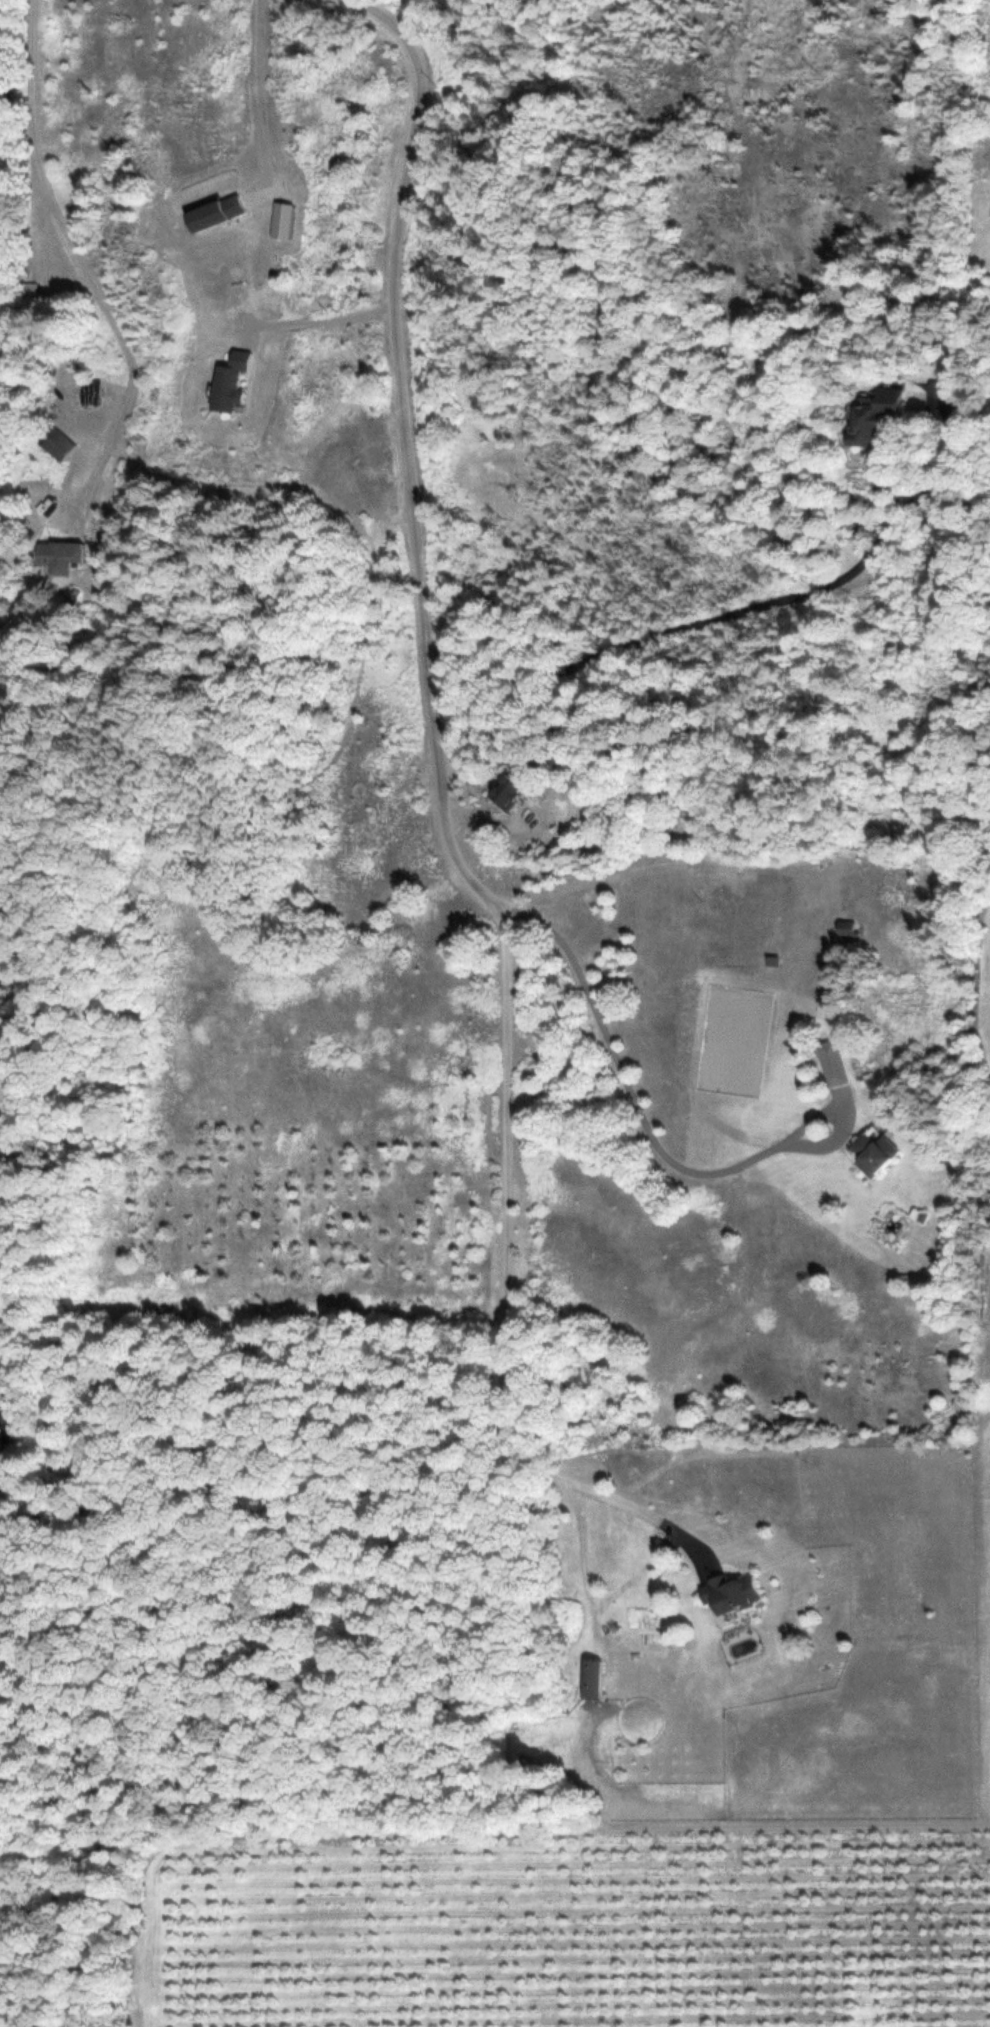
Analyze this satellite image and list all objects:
building: (0, 27)
building: (209, 212)
building: (27, 289)
building: (227, 381)
building: (869, 414)
building: (47, 447)
road: (409, 471)
building: (57, 554)
road: (736, 611)
building: (503, 791)
building: (843, 927)
building: (871, 1152)
building: (728, 1592)
building: (589, 1678)

